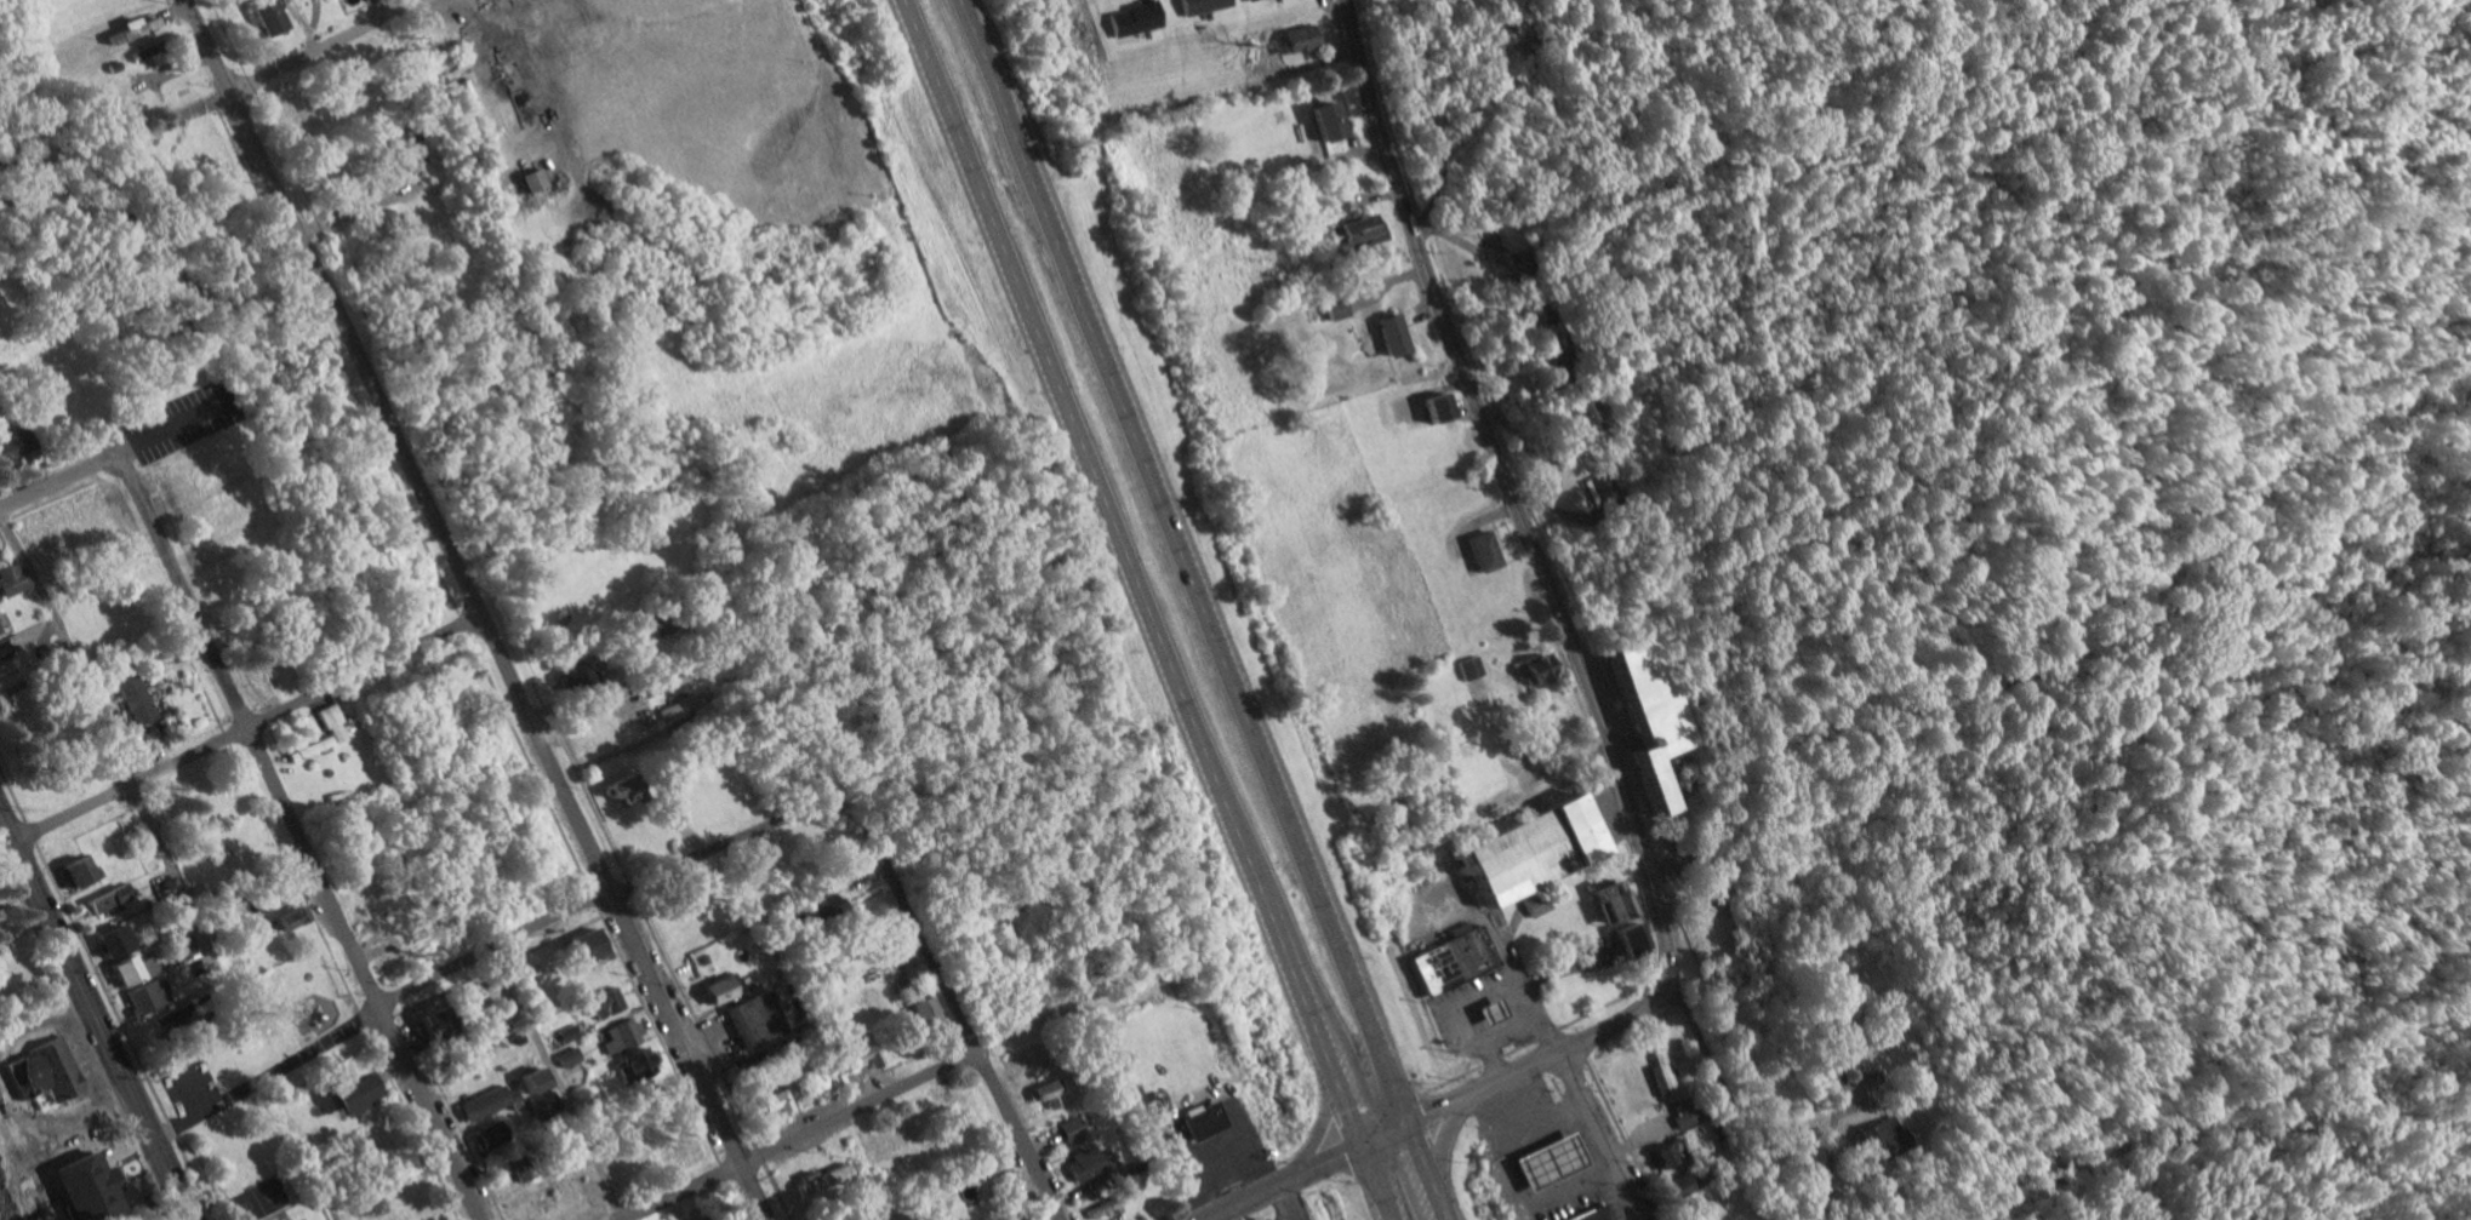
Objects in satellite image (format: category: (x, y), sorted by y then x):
building: (261, 17)
building: (127, 27)
building: (1294, 39)
building: (137, 53)
road: (281, 68)
building: (1322, 121)
road: (1462, 137)
building: (526, 181)
building: (1348, 225)
building: (1331, 309)
road: (1084, 323)
building: (1389, 336)
road: (333, 357)
building: (1432, 408)
building: (1593, 417)
park: (175, 420)
building: (11, 447)
road: (1078, 451)
road: (109, 466)
building: (1600, 485)
road: (46, 487)
road: (0, 489)
road: (1512, 491)
road: (36, 506)
building: (1480, 552)
building: (7, 579)
road: (474, 609)
building: (156, 660)
building: (1533, 668)
building: (1468, 669)
building: (561, 676)
building: (662, 685)
building: (130, 699)
building: (668, 710)
building: (1649, 711)
road: (98, 721)
building: (329, 724)
road: (245, 729)
road: (250, 739)
building: (303, 750)
road: (520, 750)
building: (615, 795)
road: (11, 796)
road: (272, 831)
building: (1529, 854)
building: (72, 871)
road: (1313, 884)
building: (280, 892)
building: (115, 893)
road: (592, 897)
road: (599, 897)
building: (1607, 903)
building: (97, 905)
building: (1535, 905)
building: (815, 906)
road: (639, 915)
building: (283, 918)
building: (1625, 939)
building: (105, 940)
building: (580, 946)
building: (182, 950)
building: (1450, 963)
road: (496, 964)
road: (93, 968)
building: (125, 970)
road: (76, 978)
building: (714, 990)
building: (143, 996)
building: (601, 1003)
road: (952, 1003)
building: (920, 1012)
building: (1488, 1015)
gas station: (1488, 1015)
road: (360, 1016)
building: (748, 1020)
road: (378, 1021)
road: (1311, 1024)
building: (423, 1027)
road: (657, 1033)
building: (564, 1035)
building: (1841, 1035)
building: (617, 1036)
road: (84, 1039)
building: (856, 1053)
building: (564, 1059)
building: (632, 1064)
road: (1571, 1070)
building: (42, 1071)
road: (1519, 1072)
building: (1663, 1076)
building: (525, 1082)
road: (555, 1083)
building: (341, 1094)
building: (1043, 1095)
road: (1734, 1099)
building: (766, 1102)
building: (481, 1104)
road: (818, 1104)
building: (538, 1107)
road: (427, 1115)
road: (452, 1115)
road: (1540, 1119)
building: (1200, 1122)
road: (411, 1123)
traffic signals: (1410, 1124)
building: (1067, 1130)
road: (804, 1136)
building: (481, 1138)
building: (1885, 1138)
road: (727, 1146)
traffic signals: (1360, 1147)
road: (1831, 1147)
road: (758, 1155)
road: (1501, 1155)
building: (1665, 1155)
building: (1545, 1161)
gas station: (1545, 1161)
road: (306, 1167)
building: (1080, 1167)
road: (188, 1169)
road: (723, 1170)
road: (1427, 1172)
road: (1240, 1179)
road: (171, 1180)
building: (815, 1181)
road: (1284, 1184)
road: (1374, 1184)
road: (1569, 1186)
building: (1682, 1186)
building: (78, 1189)
road: (775, 1191)
road: (737, 1199)
road: (1288, 1203)
building: (1105, 1207)
building: (1590, 1214)
road: (1220, 1218)
building: (1018, 1219)

